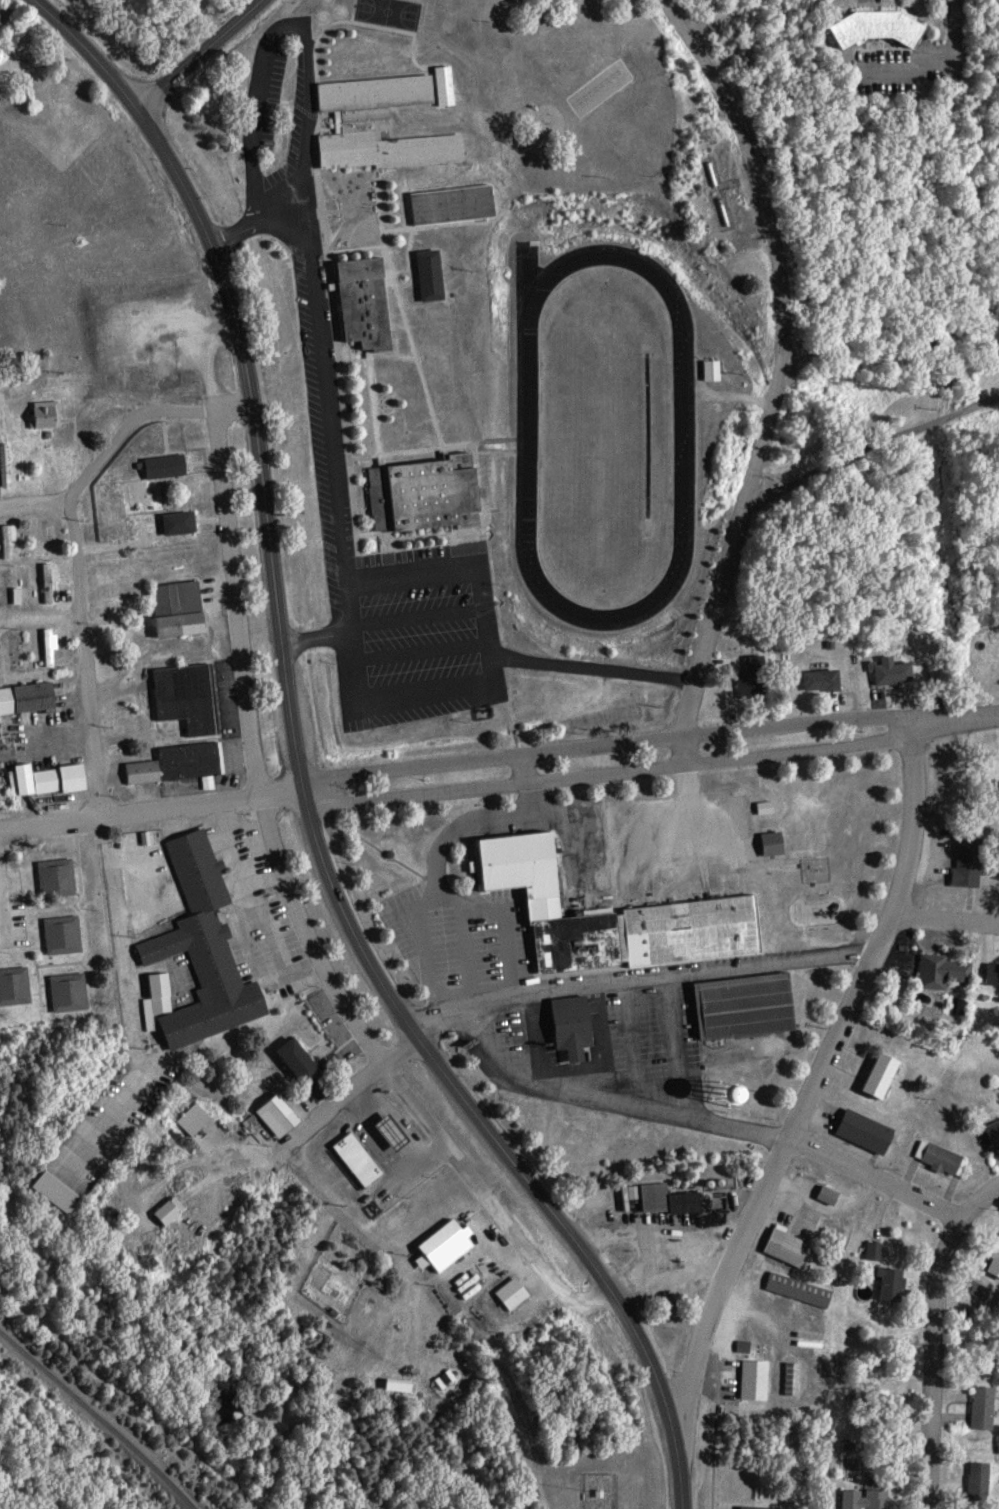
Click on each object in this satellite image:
building: (888, 28)
road: (198, 54)
building: (389, 126)
building: (461, 204)
road: (774, 239)
building: (439, 275)
building: (375, 304)
building: (719, 369)
road: (145, 414)
stadium: (604, 434)
road: (873, 450)
building: (174, 466)
building: (432, 493)
road: (69, 500)
road: (34, 507)
building: (187, 522)
building: (14, 539)
building: (57, 580)
building: (25, 595)
building: (186, 608)
road: (716, 617)
road: (39, 620)
building: (58, 645)
road: (83, 661)
building: (898, 670)
building: (940, 671)
building: (760, 677)
building: (829, 679)
building: (193, 696)
road: (997, 714)
road: (646, 740)
building: (185, 763)
road: (649, 769)
road: (298, 774)
building: (55, 779)
building: (773, 807)
road: (150, 811)
building: (782, 843)
building: (974, 863)
building: (485, 865)
building: (65, 877)
road: (108, 881)
road: (291, 903)
road: (3, 916)
building: (623, 916)
road: (948, 921)
building: (71, 934)
building: (207, 953)
building: (996, 973)
building: (20, 985)
building: (76, 991)
building: (754, 1005)
building: (581, 1025)
building: (309, 1061)
building: (892, 1074)
road: (812, 1088)
road: (337, 1098)
building: (287, 1116)
building: (201, 1118)
building: (997, 1130)
building: (875, 1131)
building: (402, 1132)
building: (366, 1159)
road: (873, 1179)
building: (65, 1191)
building: (655, 1195)
building: (837, 1195)
building: (692, 1202)
road: (977, 1202)
building: (176, 1210)
building: (454, 1245)
building: (795, 1246)
building: (882, 1250)
building: (997, 1268)
building: (899, 1283)
building: (806, 1289)
building: (520, 1293)
building: (676, 1297)
road: (934, 1364)
building: (800, 1378)
building: (762, 1379)
building: (989, 1407)
railway: (99, 1415)
building: (987, 1481)
building: (872, 1499)
building: (762, 1508)

